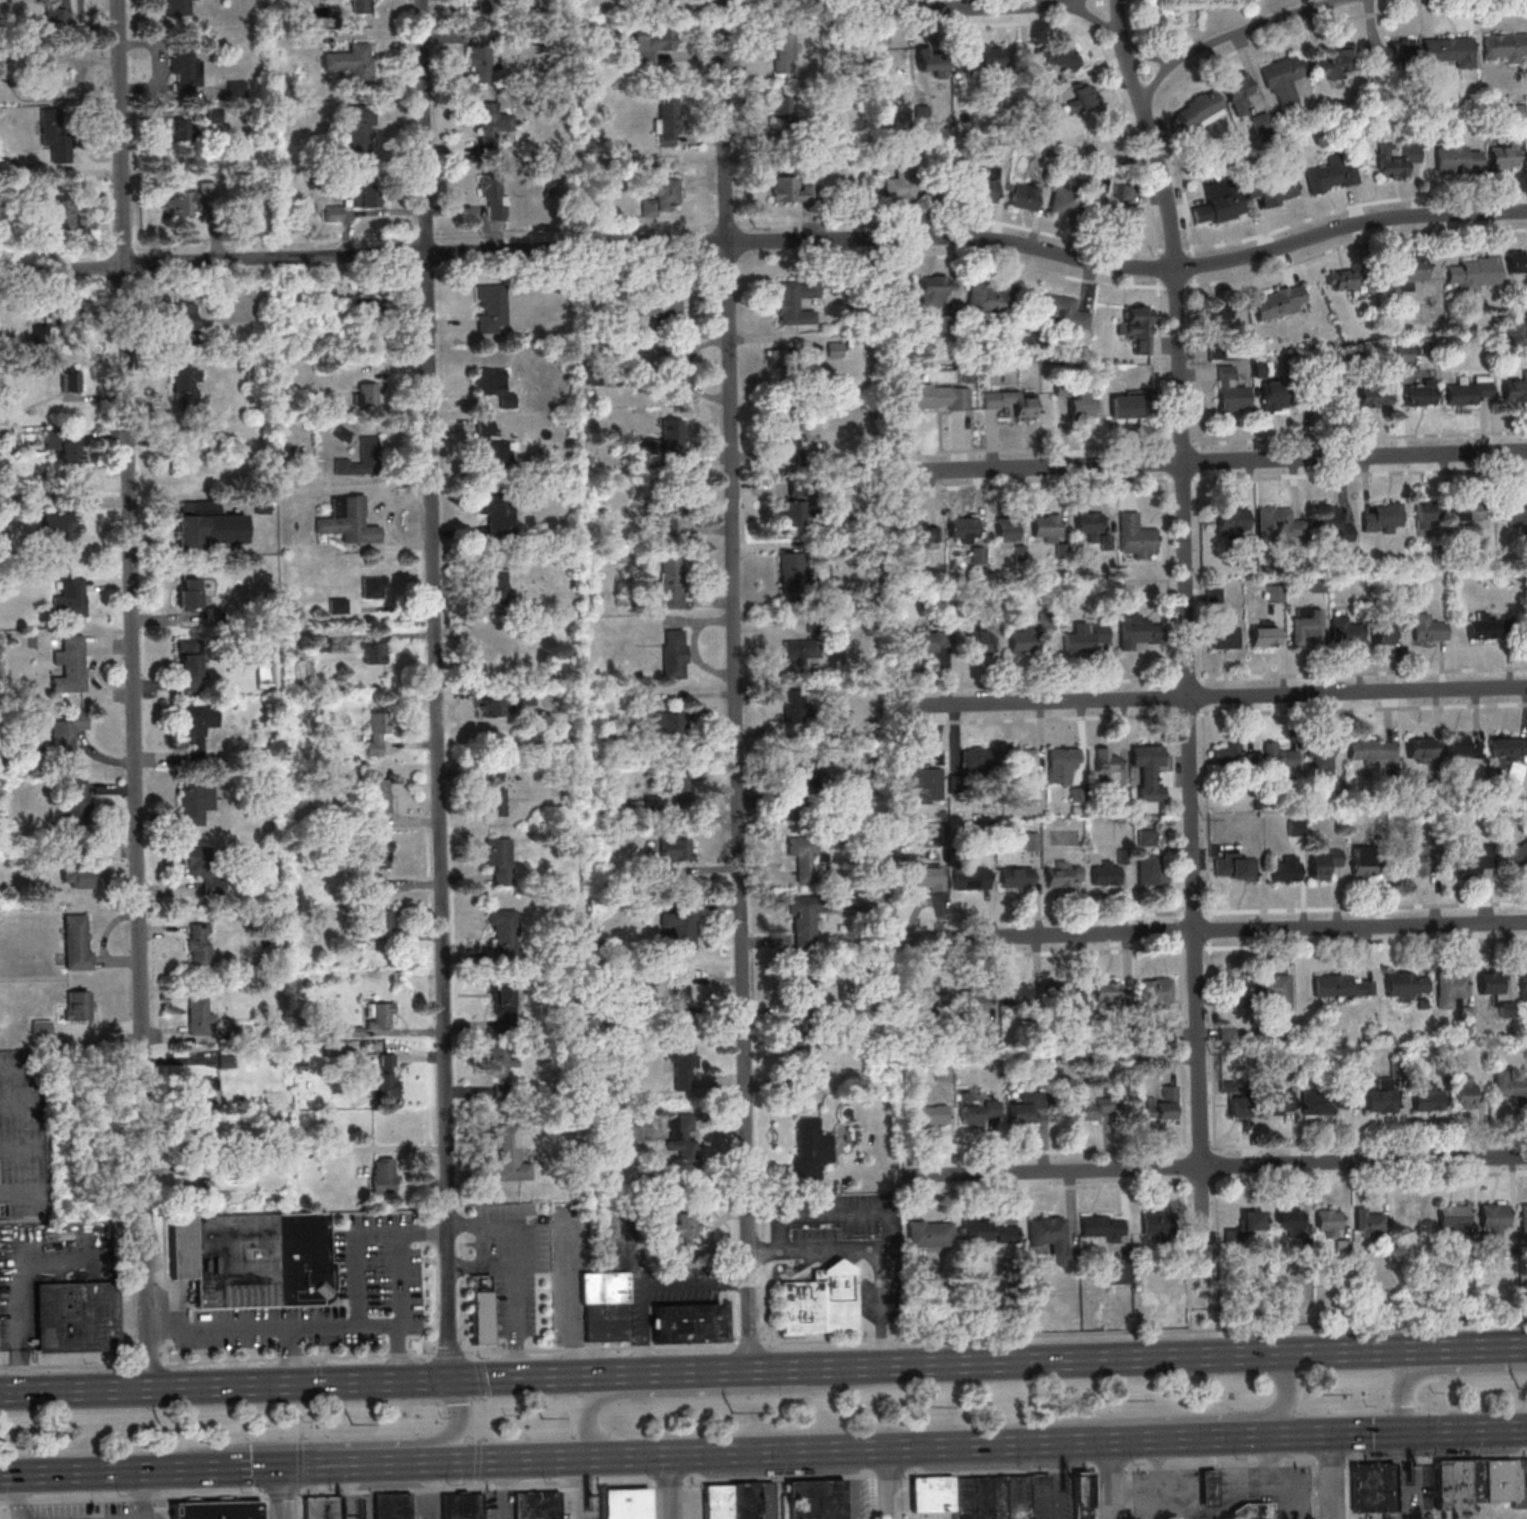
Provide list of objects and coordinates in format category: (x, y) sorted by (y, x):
building: (362, 4)
road: (1004, 7)
building: (178, 8)
building: (58, 13)
road: (1229, 36)
building: (654, 45)
building: (1504, 47)
building: (784, 49)
building: (1449, 51)
building: (482, 54)
building: (1394, 54)
building: (1054, 55)
building: (989, 56)
building: (352, 61)
building: (932, 62)
building: (1335, 64)
building: (182, 69)
building: (59, 76)
building: (1283, 79)
building: (1238, 93)
building: (1083, 98)
building: (781, 108)
building: (1200, 109)
building: (1517, 113)
building: (667, 122)
building: (494, 126)
building: (179, 129)
building: (358, 132)
building: (58, 143)
building: (1503, 156)
building: (1458, 158)
building: (1396, 161)
building: (1332, 173)
building: (985, 185)
building: (900, 186)
building: (1273, 188)
building: (792, 190)
building: (362, 192)
building: (1123, 192)
building: (658, 195)
building: (1025, 195)
building: (495, 196)
building: (186, 199)
building: (1064, 200)
building: (1218, 203)
building: (62, 209)
building: (330, 212)
building: (1125, 216)
road: (767, 240)
building: (1516, 263)
building: (1413, 268)
building: (1472, 273)
building: (1342, 279)
building: (935, 289)
building: (901, 293)
building: (989, 299)
building: (795, 301)
building: (1277, 302)
building: (657, 303)
building: (491, 309)
building: (1063, 312)
building: (1219, 314)
building: (184, 315)
building: (61, 325)
building: (1137, 329)
building: (835, 349)
building: (786, 359)
building: (672, 375)
building: (71, 381)
building: (188, 384)
building: (494, 385)
building: (1515, 389)
building: (1468, 390)
building: (1230, 391)
building: (1419, 393)
building: (366, 394)
building: (1328, 395)
building: (1273, 396)
building: (932, 397)
building: (1374, 397)
building: (1011, 402)
building: (1081, 403)
building: (1125, 404)
building: (672, 436)
building: (790, 438)
building: (491, 446)
building: (67, 448)
building: (361, 458)
building: (192, 460)
road: (1211, 462)
building: (1466, 511)
building: (1513, 511)
building: (792, 513)
building: (496, 514)
building: (671, 514)
building: (1426, 515)
building: (1242, 518)
building: (1382, 518)
building: (1329, 519)
building: (349, 520)
building: (1278, 523)
building: (209, 524)
building: (1088, 525)
building: (1046, 526)
building: (962, 529)
building: (1006, 530)
building: (62, 532)
building: (918, 534)
building: (1136, 537)
building: (792, 574)
road: (1184, 579)
building: (672, 582)
building: (1317, 583)
building: (374, 586)
building: (495, 586)
building: (190, 592)
building: (1274, 593)
building: (1213, 594)
building: (71, 598)
building: (1305, 625)
building: (1482, 626)
building: (1427, 628)
building: (1384, 629)
building: (1344, 630)
building: (1137, 631)
building: (1084, 636)
building: (1265, 636)
building: (1223, 637)
building: (1023, 640)
building: (980, 642)
building: (919, 643)
building: (801, 649)
building: (375, 652)
building: (674, 653)
building: (191, 664)
building: (70, 665)
road: (735, 684)
road: (434, 689)
road: (131, 694)
road: (1215, 696)
building: (527, 697)
building: (495, 707)
building: (795, 714)
building: (670, 722)
building: (197, 724)
building: (377, 731)
building: (66, 734)
building: (1460, 747)
building: (1420, 749)
building: (1506, 749)
building: (1369, 750)
building: (1231, 757)
building: (1279, 758)
building: (1323, 759)
building: (976, 760)
building: (1023, 760)
building: (1061, 764)
building: (1104, 764)
building: (1148, 770)
building: (801, 777)
building: (675, 778)
building: (923, 778)
building: (494, 791)
building: (77, 801)
building: (195, 802)
building: (380, 802)
building: (1294, 827)
building: (1147, 837)
building: (1030, 841)
building: (675, 848)
building: (378, 854)
building: (807, 855)
building: (1514, 856)
building: (499, 859)
building: (1470, 859)
building: (1363, 861)
building: (1413, 861)
building: (1322, 862)
building: (1234, 866)
building: (1284, 868)
building: (204, 869)
building: (1151, 869)
building: (1105, 872)
building: (1063, 874)
building: (970, 876)
building: (76, 877)
building: (1014, 877)
building: (926, 878)
building: (807, 917)
building: (383, 920)
building: (679, 924)
road: (1216, 930)
building: (503, 932)
building: (77, 942)
building: (199, 944)
building: (1404, 984)
building: (1522, 984)
building: (1342, 985)
building: (1450, 989)
building: (1275, 990)
building: (1105, 991)
building: (1157, 991)
building: (1494, 991)
building: (806, 992)
building: (1016, 995)
building: (1063, 996)
building: (504, 997)
building: (925, 999)
building: (971, 999)
building: (680, 1000)
building: (77, 1005)
building: (199, 1014)
building: (382, 1015)
building: (40, 1029)
building: (239, 1032)
building: (1163, 1034)
building: (682, 1061)
building: (805, 1064)
building: (503, 1069)
building: (942, 1073)
building: (383, 1078)
building: (1509, 1087)
building: (204, 1088)
building: (1464, 1091)
building: (1380, 1094)
building: (1426, 1097)
building: (1280, 1099)
building: (1325, 1101)
building: (1163, 1103)
building: (1238, 1106)
building: (1026, 1107)
building: (1088, 1110)
building: (977, 1111)
building: (933, 1114)
building: (682, 1136)
building: (810, 1148)
building: (510, 1154)
road: (1217, 1165)
building: (384, 1175)
building: (202, 1188)
road: (832, 1213)
building: (1453, 1215)
building: (1523, 1218)
road: (1199, 1219)
building: (1251, 1220)
building: (1328, 1221)
building: (1288, 1222)
building: (1368, 1222)
building: (1154, 1224)
building: (1492, 1226)
building: (1102, 1227)
building: (686, 1230)
building: (988, 1231)
building: (929, 1233)
building: (1049, 1236)
building: (1341, 1246)
road: (872, 1247)
road: (357, 1257)
building: (254, 1260)
road: (525, 1264)
road: (480, 1265)
road: (766, 1271)
road: (649, 1284)
building: (820, 1301)
building: (605, 1306)
building: (481, 1311)
building: (76, 1316)
road: (339, 1321)
building: (686, 1323)
road: (1144, 1331)
road: (747, 1344)
road: (599, 1347)
road: (1450, 1348)
road: (400, 1350)
road: (448, 1352)
road: (286, 1353)
road: (298, 1356)
road: (1101, 1358)
road: (148, 1362)
road: (66, 1366)
road: (737, 1369)
road: (1437, 1369)
traffic signals: (446, 1380)
road: (323, 1382)
power tower: (1517, 1388)
road: (713, 1391)
power tower: (1323, 1391)
road: (1284, 1395)
road: (482, 1397)
power tower: (1122, 1400)
power tower: (926, 1404)
power tower: (731, 1413)
power tower: (540, 1415)
road: (300, 1417)
road: (456, 1421)
power tower: (349, 1422)
power tower: (162, 1430)
road: (1399, 1431)
traffic signals: (1399, 1432)
road: (1186, 1438)
road: (1043, 1443)
road: (814, 1450)
road: (541, 1458)
road: (475, 1461)
road: (376, 1463)
road: (236, 1468)
traffic signals: (249, 1468)
road: (1103, 1469)
road: (78, 1472)
road: (1400, 1475)
road: (1328, 1476)
road: (1109, 1479)
road: (1052, 1480)
building: (1487, 1480)
building: (1501, 1480)
road: (1275, 1481)
building: (1473, 1481)
road: (666, 1482)
road: (475, 1483)
road: (849, 1483)
road: (887, 1483)
building: (1517, 1483)
building: (1449, 1485)
road: (476, 1486)
road: (666, 1487)
building: (1370, 1488)
road: (299, 1489)
road: (499, 1489)
road: (1154, 1489)
building: (1204, 1489)
road: (1346, 1489)
road: (430, 1490)
road: (1313, 1490)
road: (283, 1492)
road: (347, 1492)
road: (281, 1493)
road: (1125, 1493)
building: (928, 1494)
road: (139, 1495)
building: (1078, 1496)
road: (870, 1497)
building: (1013, 1497)
building: (1035, 1497)
building: (979, 1498)
building: (994, 1498)
road: (134, 1499)
building: (960, 1499)
traffic signals: (282, 1500)
road: (687, 1500)
building: (812, 1500)
road: (648, 1501)
building: (741, 1501)
building: (762, 1501)
building: (714, 1502)
building: (621, 1504)
building: (534, 1505)
road: (264, 1506)
road: (299, 1506)
building: (390, 1506)
building: (459, 1506)
building: (320, 1509)
road: (19, 1510)
parking lot: (83, 1510)
building: (217, 1510)
road: (1213, 1511)
building: (1252, 1512)

